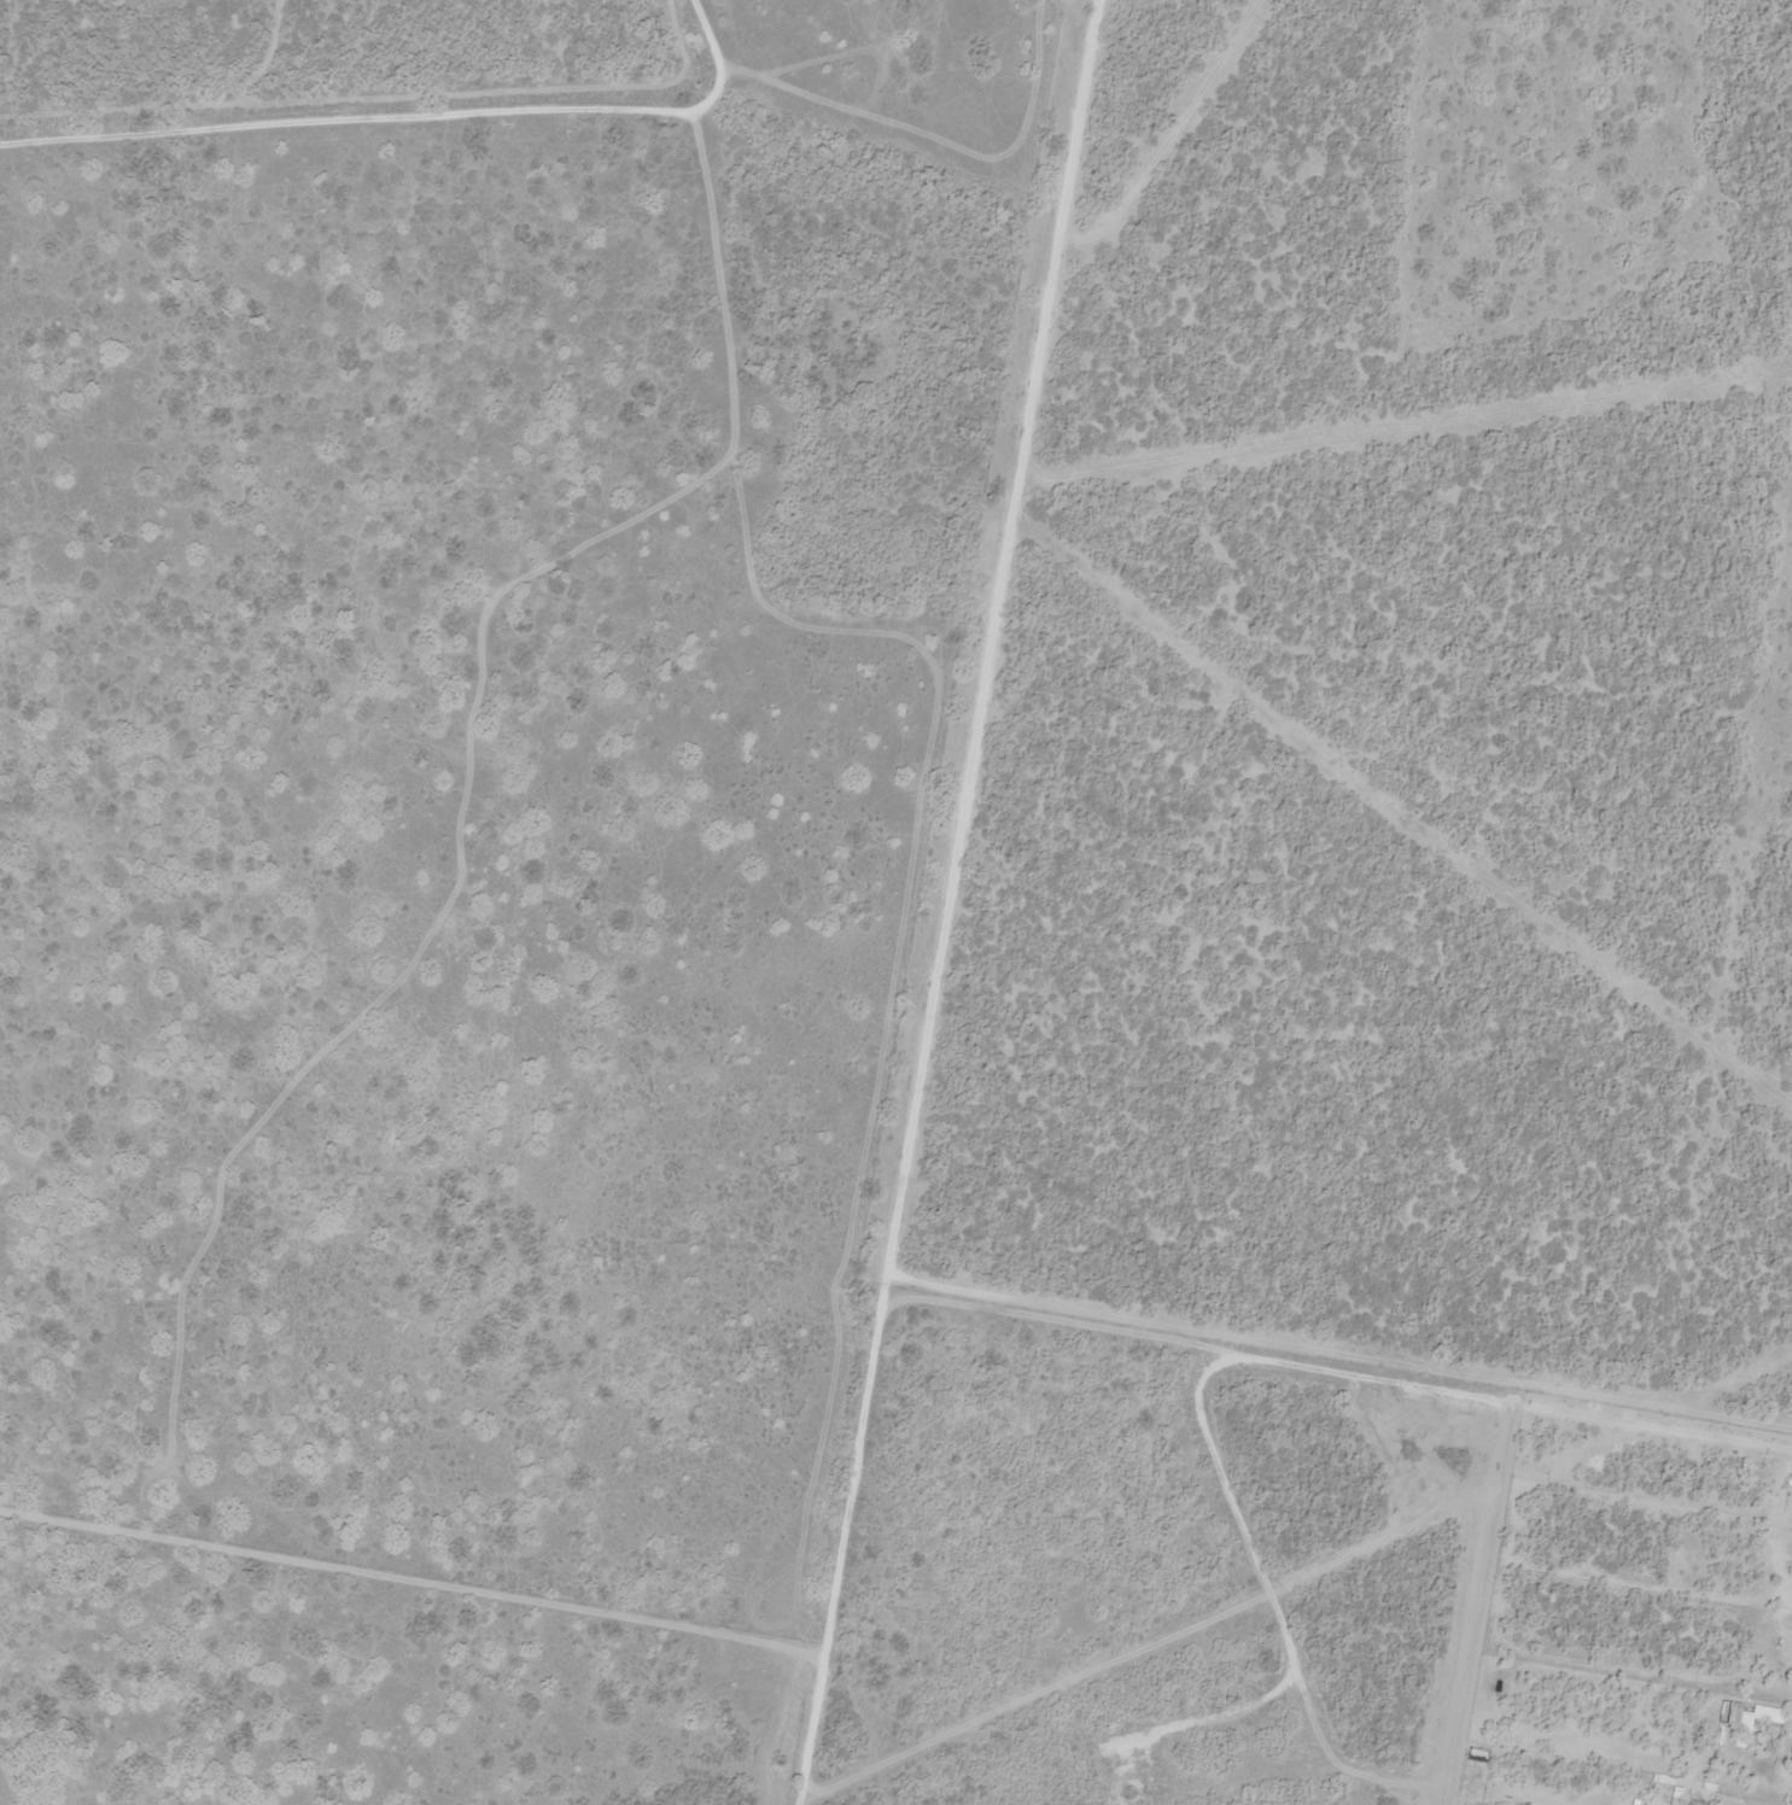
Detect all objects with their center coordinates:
road: (391, 133)
road: (1063, 240)
road: (911, 1141)
road: (1277, 1362)

